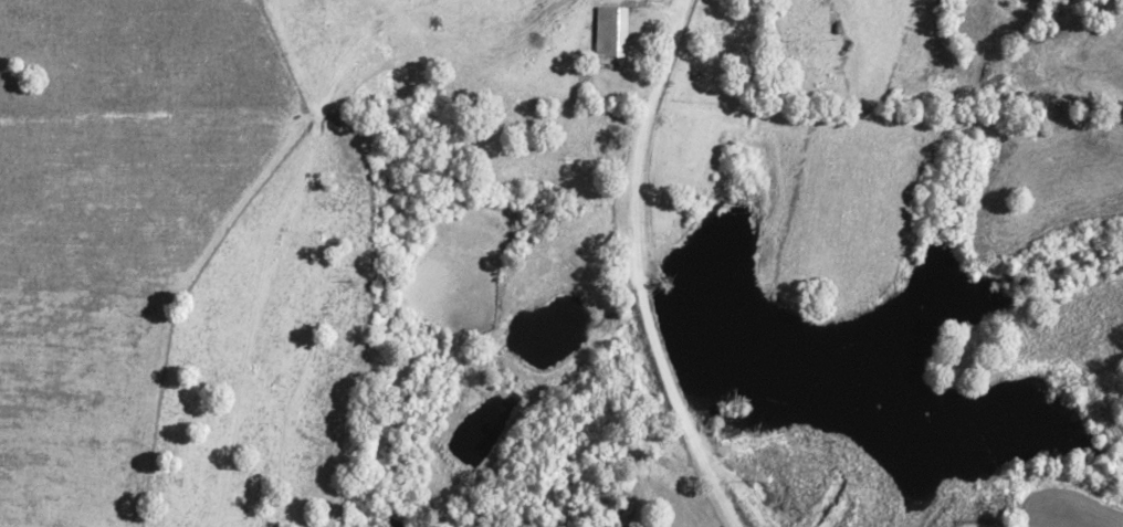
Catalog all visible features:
building: (607, 31)
road: (638, 267)

